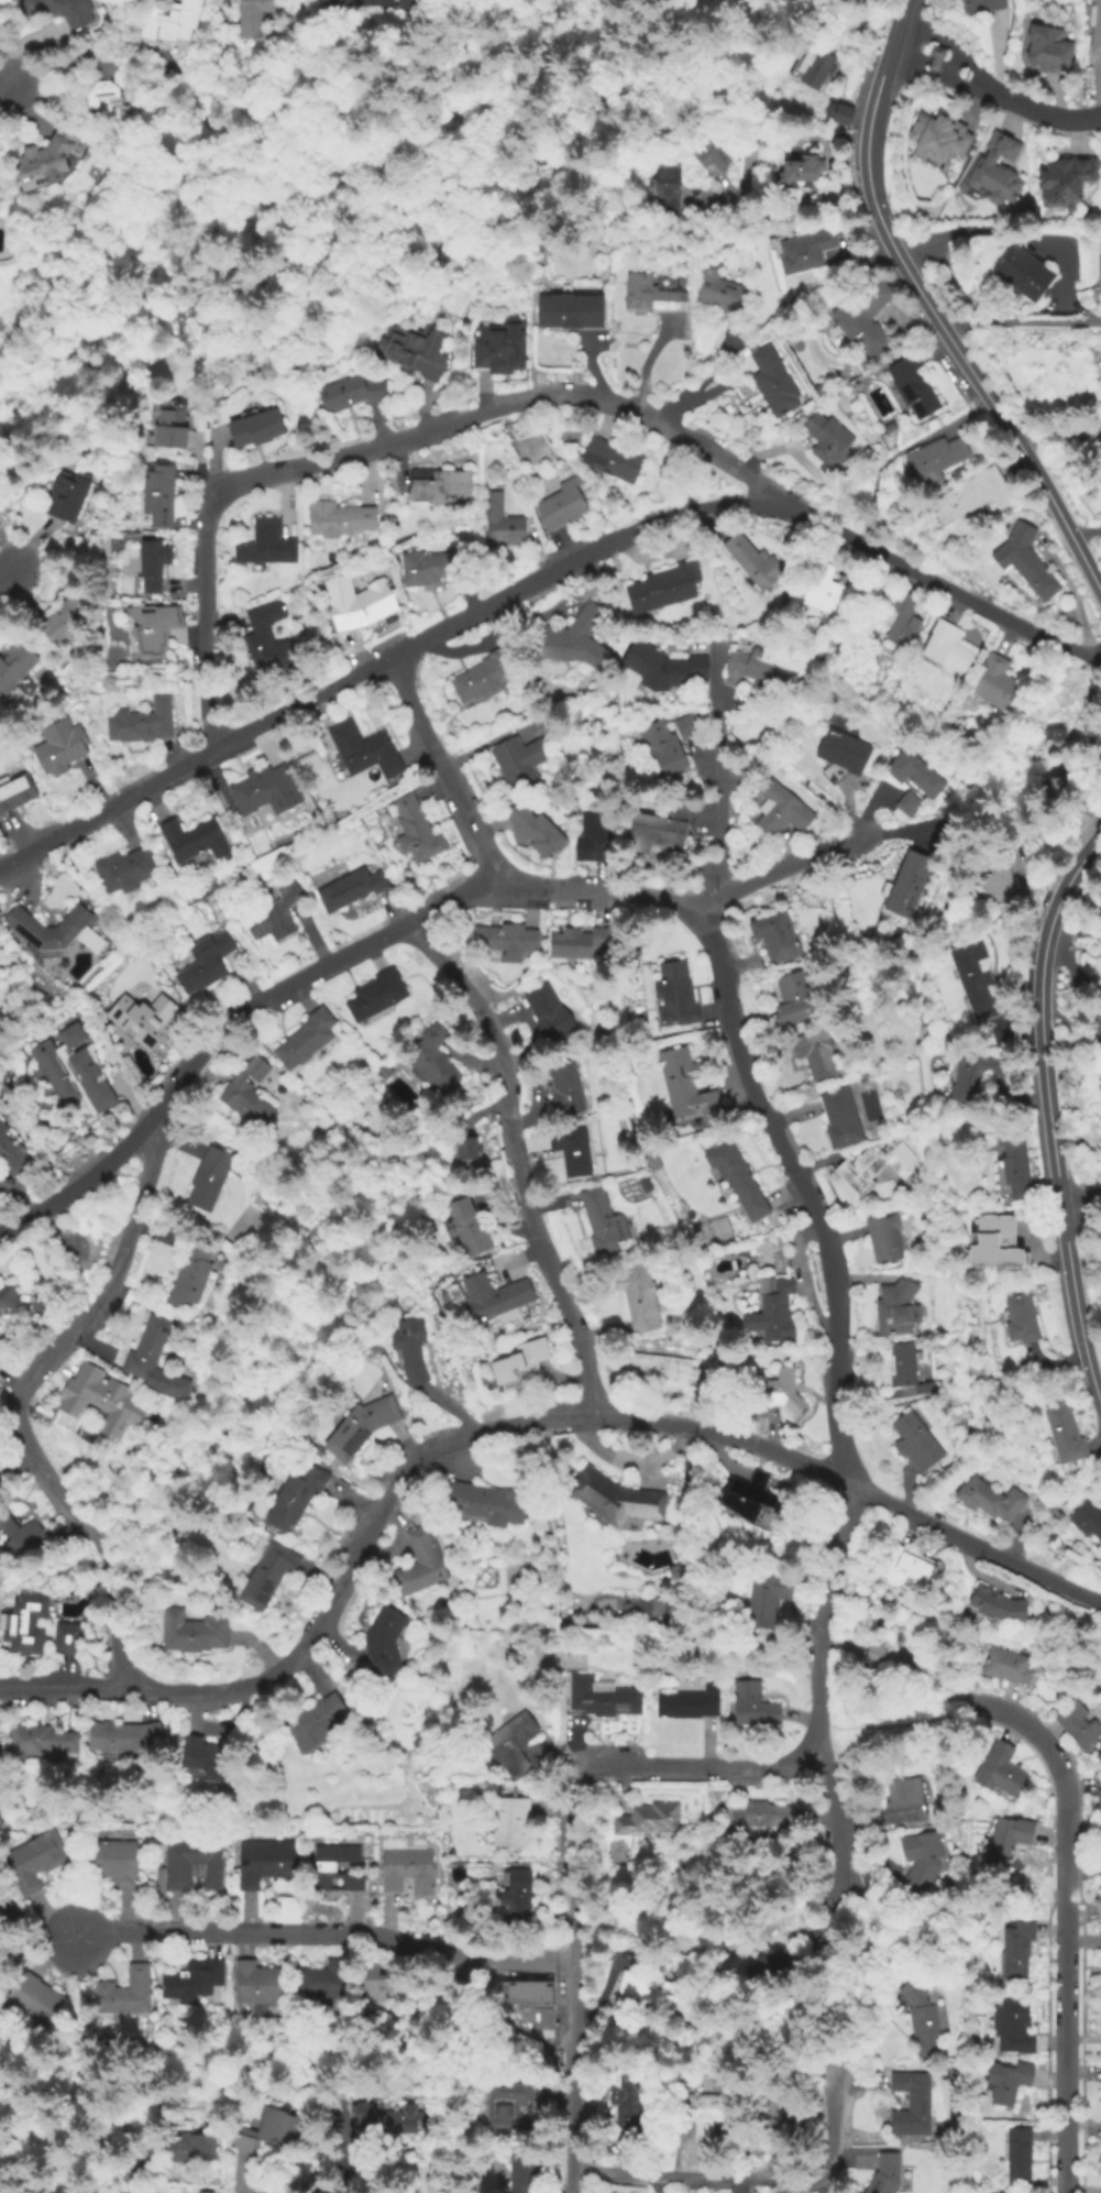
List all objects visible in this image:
building: (332, 2)
building: (373, 2)
building: (404, 3)
building: (980, 6)
building: (60, 10)
road: (902, 11)
building: (253, 17)
building: (168, 19)
building: (1096, 28)
road: (950, 43)
building: (1047, 48)
building: (934, 57)
road: (998, 57)
building: (814, 62)
road: (935, 77)
road: (4, 84)
building: (103, 87)
road: (973, 103)
road: (1041, 112)
building: (837, 113)
building: (937, 141)
road: (751, 142)
building: (712, 157)
building: (47, 158)
building: (801, 169)
building: (995, 172)
building: (1065, 179)
building: (663, 184)
building: (668, 207)
road: (1000, 232)
road: (5, 238)
building: (1100, 239)
building: (804, 252)
building: (1022, 272)
building: (719, 290)
building: (650, 295)
building: (572, 309)
building: (863, 316)
road: (936, 318)
road: (1021, 325)
building: (502, 342)
building: (412, 351)
building: (772, 381)
building: (817, 386)
building: (911, 387)
building: (348, 393)
road: (498, 410)
building: (167, 428)
building: (254, 428)
building: (887, 429)
building: (827, 438)
road: (1059, 440)
building: (613, 460)
building: (933, 460)
building: (438, 485)
building: (968, 496)
road: (783, 497)
building: (65, 498)
building: (155, 498)
building: (564, 503)
building: (339, 519)
building: (504, 523)
road: (1086, 534)
building: (266, 544)
building: (1024, 560)
building: (756, 563)
building: (151, 564)
building: (434, 567)
road: (921, 573)
road: (7, 574)
building: (664, 588)
building: (824, 590)
building: (361, 603)
building: (905, 618)
road: (207, 621)
building: (62, 623)
building: (156, 632)
building: (269, 639)
building: (574, 639)
building: (949, 645)
road: (1078, 651)
road: (381, 659)
building: (14, 667)
building: (773, 667)
building: (663, 668)
building: (486, 675)
building: (1001, 682)
building: (140, 724)
building: (687, 727)
building: (1091, 732)
building: (1053, 735)
building: (59, 747)
building: (662, 748)
building: (364, 752)
building: (843, 756)
building: (519, 763)
road: (443, 769)
building: (916, 771)
road: (722, 785)
building: (261, 788)
building: (1056, 791)
building: (15, 793)
building: (910, 803)
building: (779, 809)
building: (537, 826)
building: (660, 827)
building: (416, 831)
building: (592, 838)
building: (194, 841)
building: (124, 870)
building: (992, 880)
building: (350, 888)
building: (905, 890)
building: (821, 899)
building: (276, 914)
building: (46, 930)
building: (1085, 932)
road: (388, 933)
building: (778, 937)
building: (506, 940)
building: (576, 944)
building: (208, 961)
building: (976, 980)
building: (675, 995)
building: (376, 996)
building: (796, 998)
building: (549, 1012)
building: (146, 1019)
building: (307, 1041)
road: (1072, 1045)
building: (816, 1053)
building: (432, 1060)
building: (75, 1072)
building: (386, 1072)
road: (1044, 1073)
building: (972, 1076)
building: (564, 1087)
building: (690, 1088)
building: (247, 1095)
building: (843, 1117)
building: (464, 1149)
building: (572, 1151)
building: (12, 1154)
road: (508, 1159)
building: (877, 1165)
building: (1012, 1167)
building: (208, 1178)
building: (738, 1178)
building: (646, 1183)
road: (802, 1185)
road: (1081, 1203)
building: (603, 1226)
building: (467, 1229)
building: (884, 1238)
building: (993, 1241)
building: (190, 1276)
building: (639, 1296)
building: (498, 1298)
building: (8, 1301)
building: (774, 1305)
building: (899, 1307)
building: (1019, 1320)
building: (410, 1351)
building: (155, 1360)
building: (661, 1366)
building: (520, 1367)
road: (1087, 1368)
building: (904, 1370)
building: (777, 1393)
building: (99, 1399)
road: (19, 1402)
building: (361, 1428)
building: (1064, 1437)
building: (914, 1444)
road: (430, 1449)
building: (295, 1498)
building: (615, 1499)
building: (747, 1499)
building: (988, 1501)
building: (486, 1505)
building: (1087, 1521)
building: (16, 1532)
road: (972, 1543)
building: (421, 1564)
building: (905, 1569)
building: (676, 1570)
building: (266, 1572)
building: (761, 1596)
building: (650, 1609)
building: (995, 1610)
road: (824, 1619)
building: (24, 1625)
building: (192, 1634)
building: (68, 1642)
building: (385, 1643)
building: (892, 1659)
building: (1005, 1668)
road: (63, 1690)
building: (604, 1700)
building: (691, 1702)
building: (751, 1709)
road: (944, 1713)
building: (315, 1723)
building: (1075, 1725)
road: (862, 1733)
building: (124, 1739)
building: (40, 1744)
building: (514, 1744)
building: (208, 1761)
road: (694, 1767)
building: (998, 1772)
building: (1097, 1794)
building: (903, 1802)
building: (758, 1817)
road: (835, 1817)
building: (650, 1820)
building: (511, 1825)
building: (1008, 1838)
building: (918, 1860)
building: (115, 1861)
building: (37, 1863)
building: (265, 1863)
building: (335, 1867)
building: (409, 1872)
building: (180, 1878)
building: (1100, 1883)
building: (518, 1898)
building: (1098, 1908)
road: (1065, 1921)
road: (327, 1933)
building: (1015, 1949)
building: (783, 1966)
road: (574, 1980)
building: (192, 1982)
building: (326, 1982)
building: (260, 1985)
building: (657, 1987)
building: (375, 1988)
building: (528, 1991)
building: (126, 1994)
building: (34, 2000)
building: (924, 2021)
building: (1100, 2022)
building: (1009, 2027)
building: (1005, 2082)
building: (630, 2099)
building: (504, 2103)
building: (914, 2106)
building: (700, 2109)
building: (780, 2114)
building: (387, 2123)
building: (268, 2134)
building: (191, 2150)
building: (1016, 2153)
road: (340, 2154)
building: (1100, 2161)
building: (526, 2170)
building: (889, 2170)
road: (125, 2171)
road: (240, 2176)
road: (751, 2176)
building: (202, 2192)
building: (1003, 2192)

